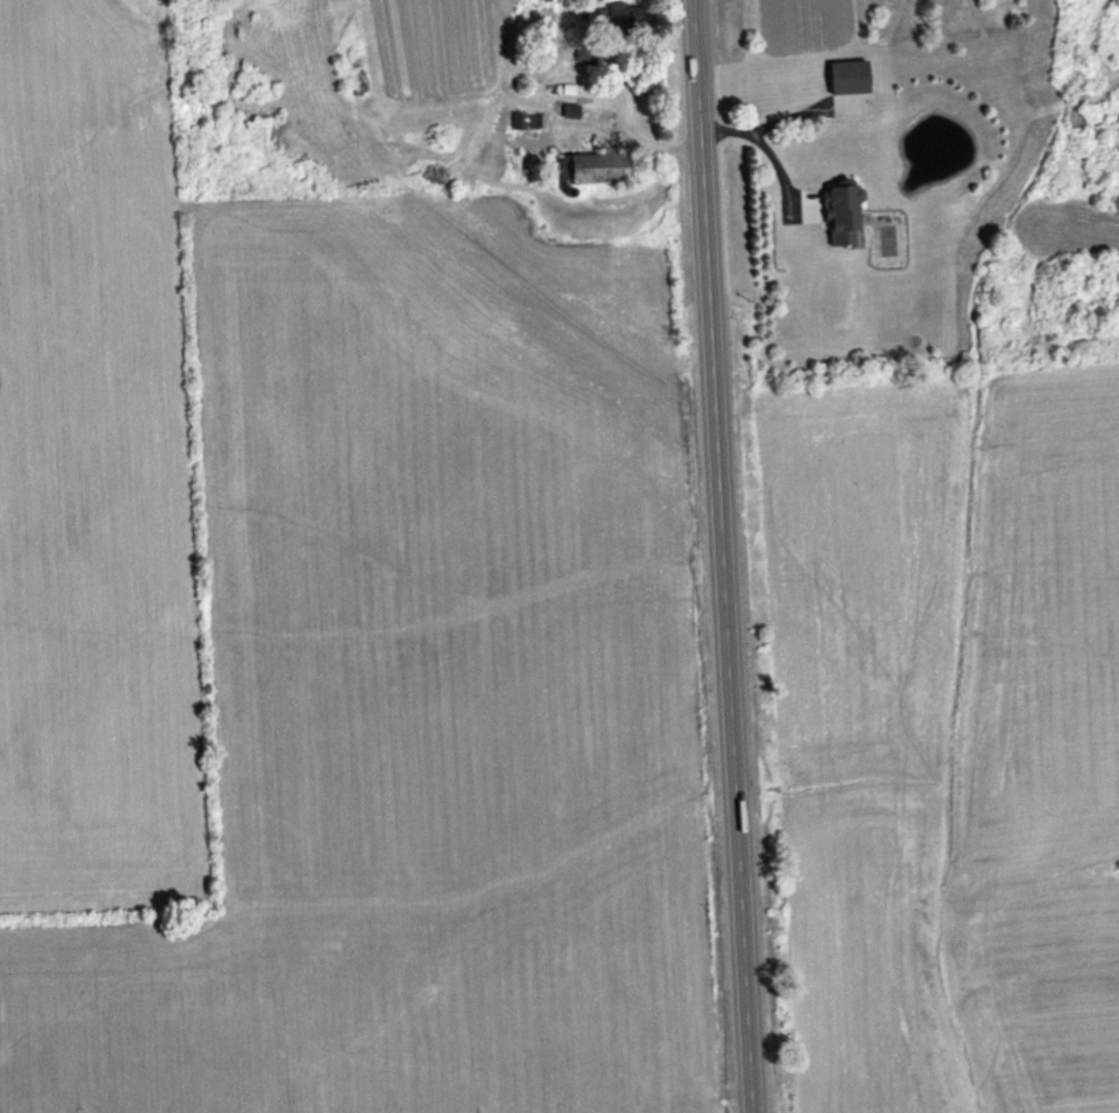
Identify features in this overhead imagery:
building: (539, 0)
building: (620, 18)
building: (847, 77)
building: (525, 123)
road: (767, 152)
building: (595, 170)
building: (841, 216)
road: (718, 556)

